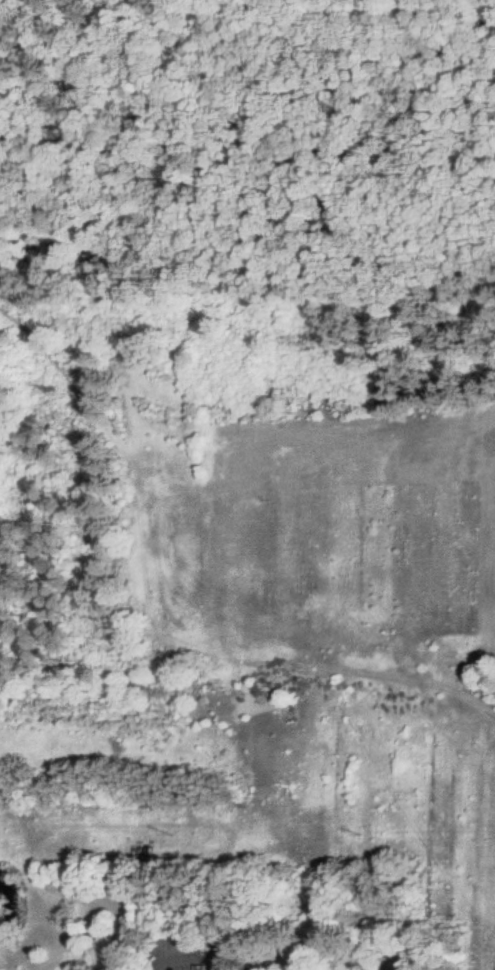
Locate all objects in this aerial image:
road: (200, 957)
road: (163, 962)

